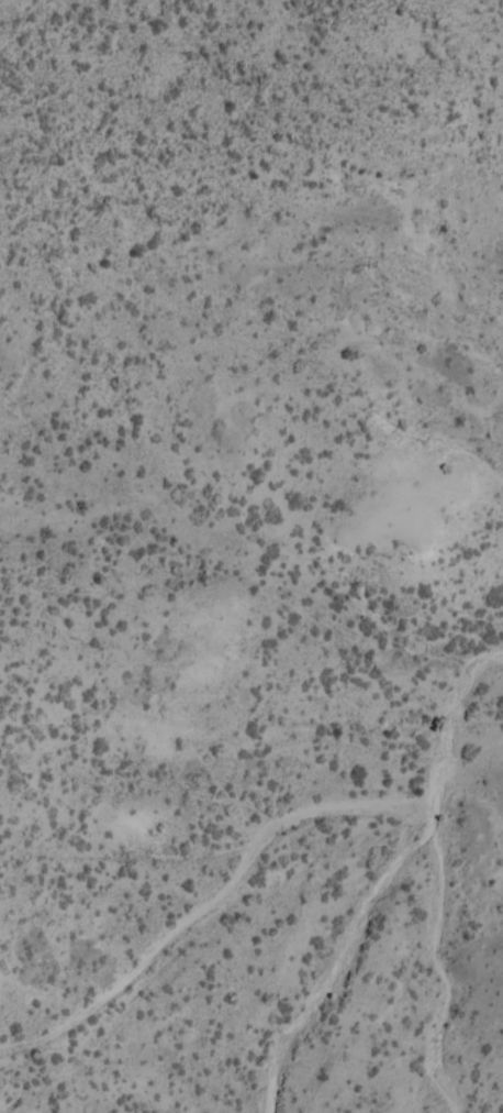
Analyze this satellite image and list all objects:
road: (237, 882)

